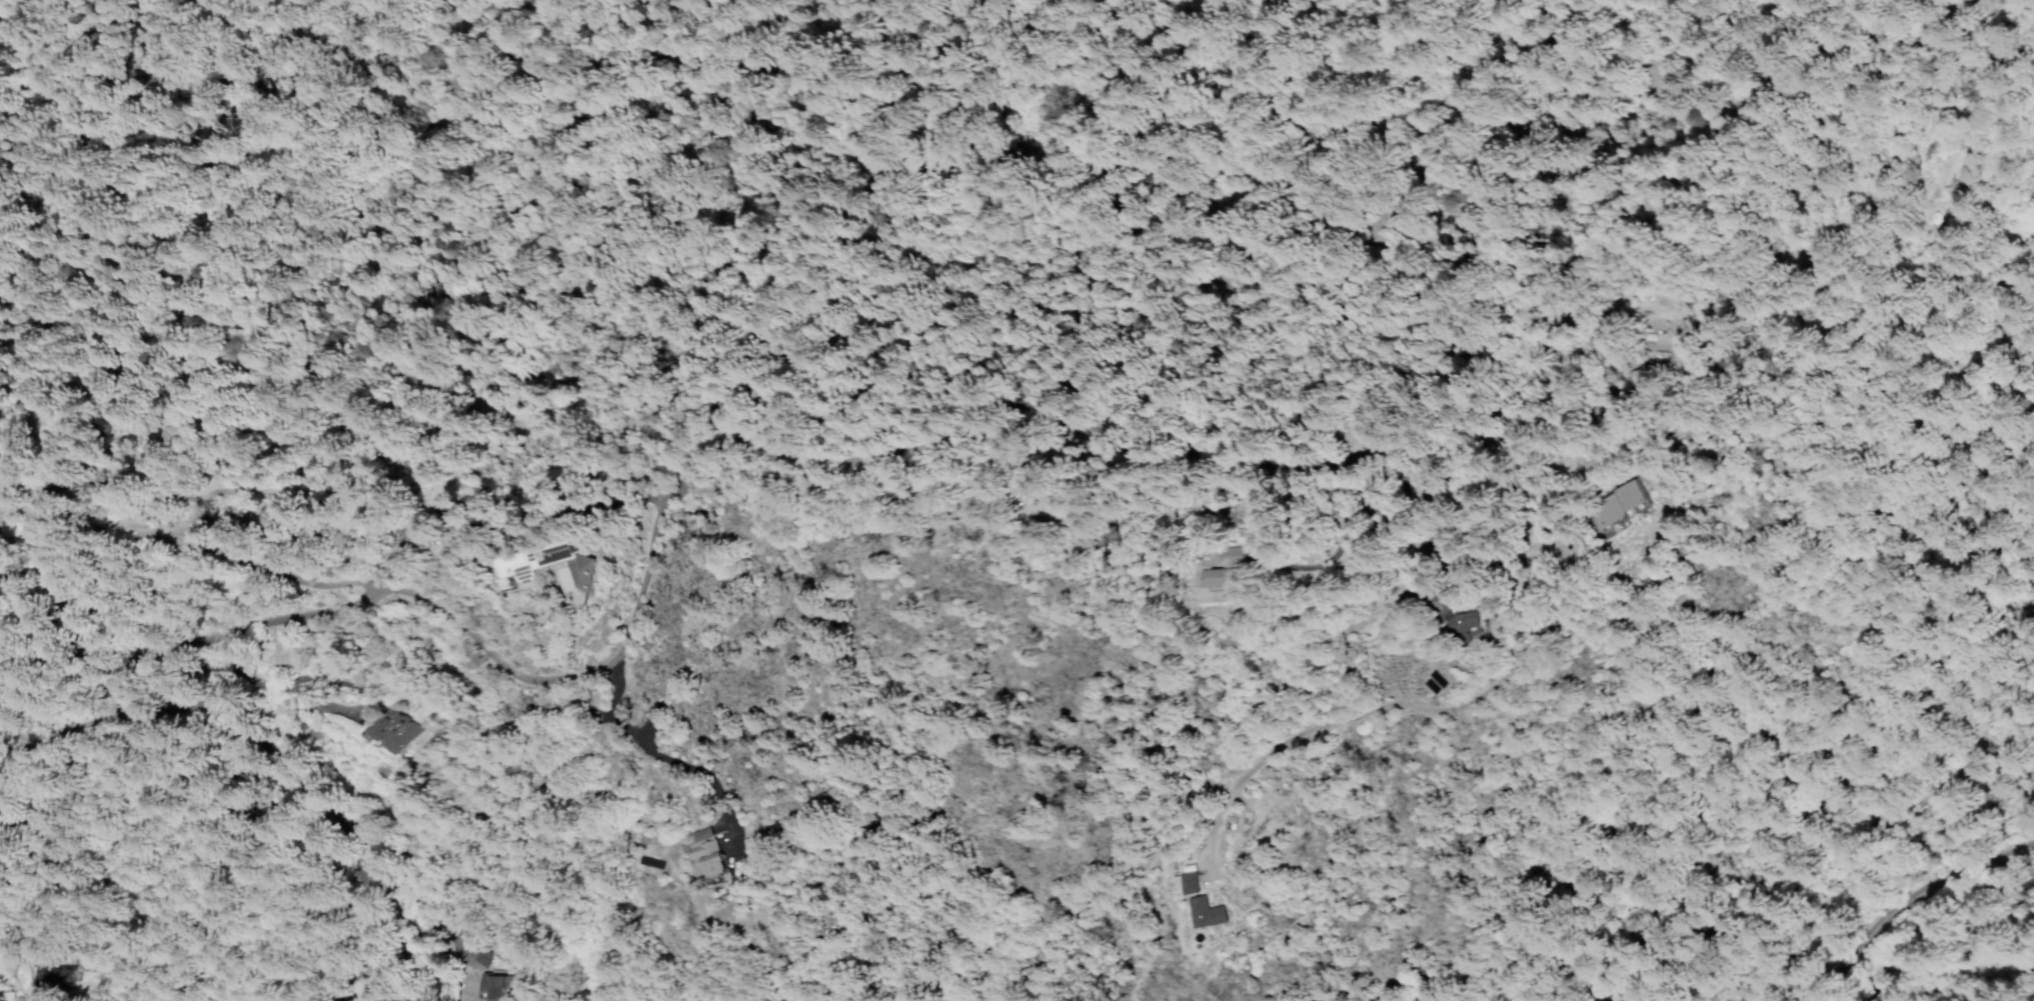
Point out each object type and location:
road: (1936, 90)
building: (1919, 217)
road: (1749, 346)
building: (1611, 504)
building: (424, 526)
building: (418, 535)
road: (1324, 540)
road: (194, 547)
building: (538, 555)
building: (584, 569)
building: (1219, 570)
building: (1459, 620)
road: (632, 627)
road: (1387, 707)
road: (51, 723)
building: (389, 729)
road: (663, 757)
building: (705, 853)
building: (1187, 884)
road: (1896, 894)
road: (1954, 910)
building: (1205, 914)
crop: (1940, 935)
building: (470, 957)
building: (2033, 959)
building: (25, 973)
building: (488, 986)
road: (720, 996)

